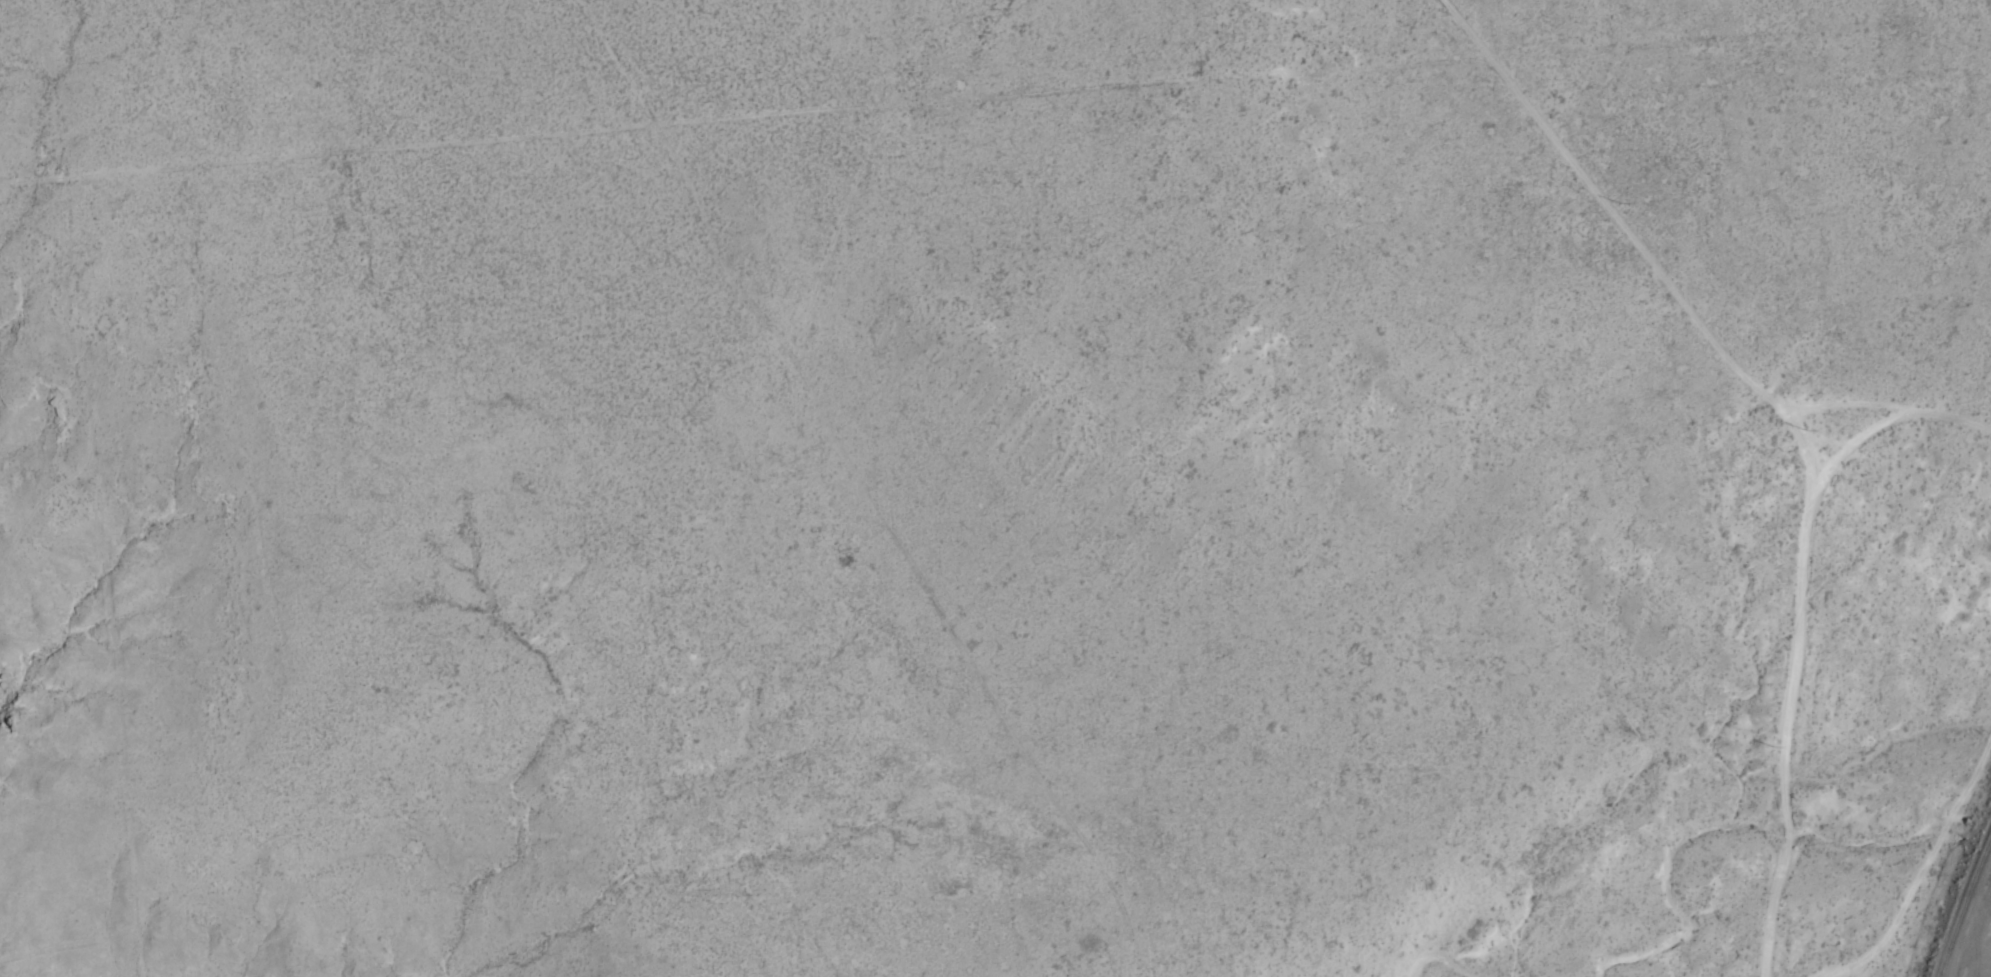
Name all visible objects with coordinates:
road: (1671, 293)
road: (1791, 698)
road: (1924, 866)
railway: (1961, 905)

